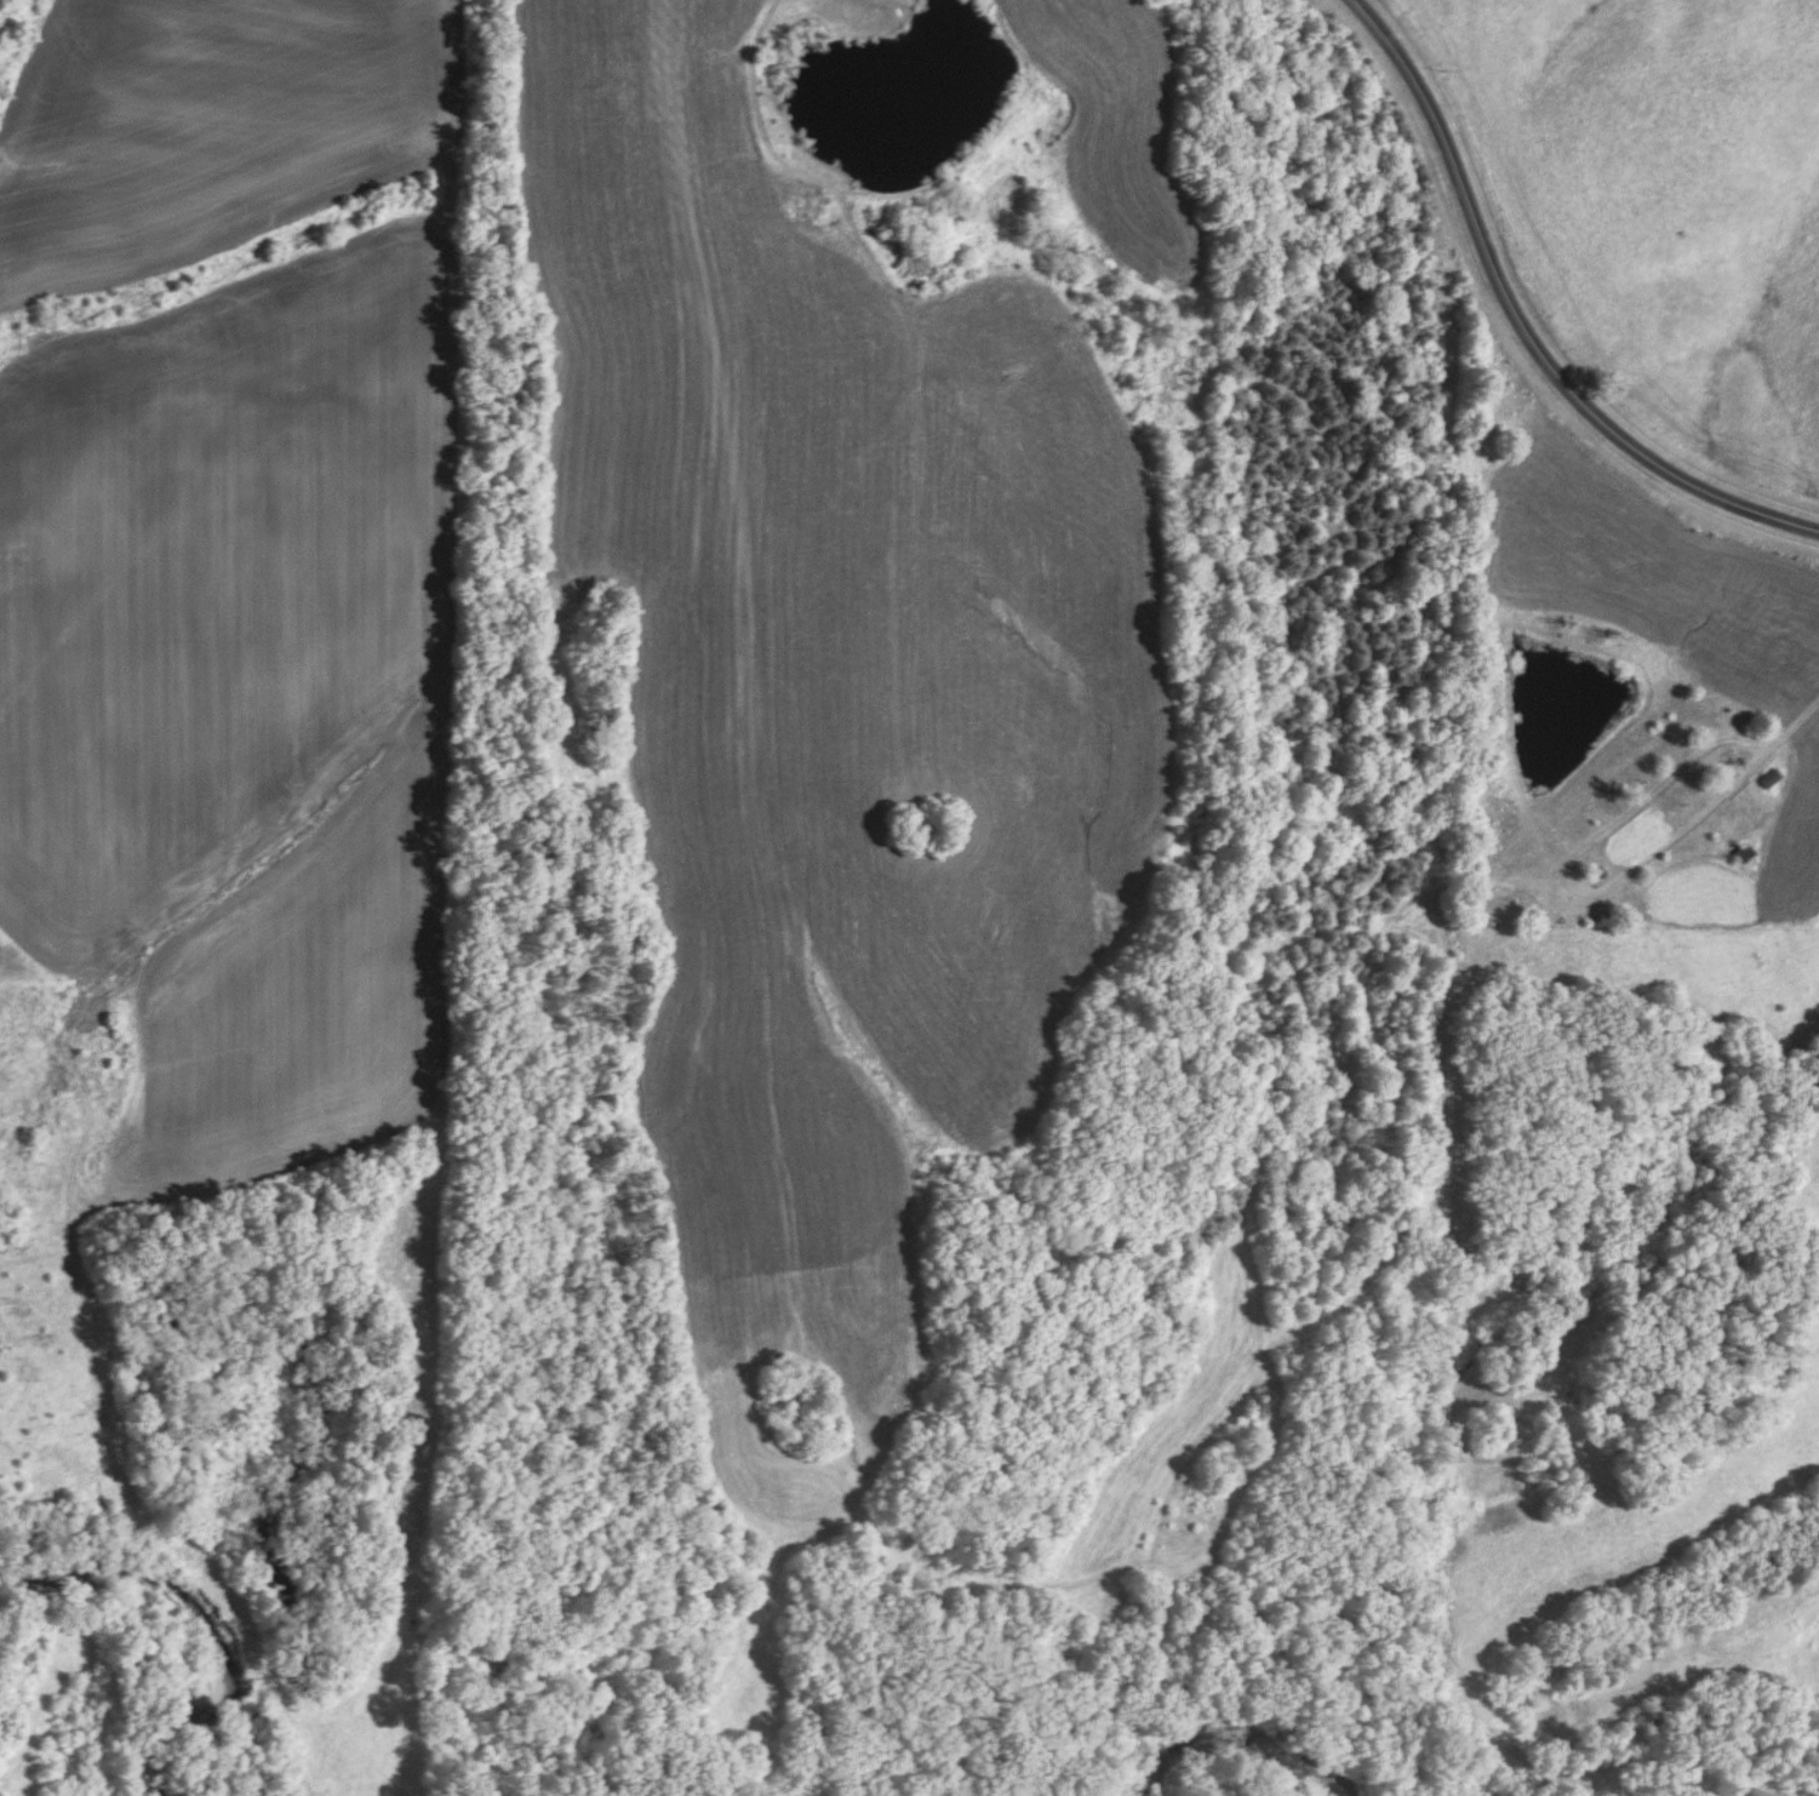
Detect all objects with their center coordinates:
road: (1520, 330)
building: (1763, 778)
building: (1735, 851)

